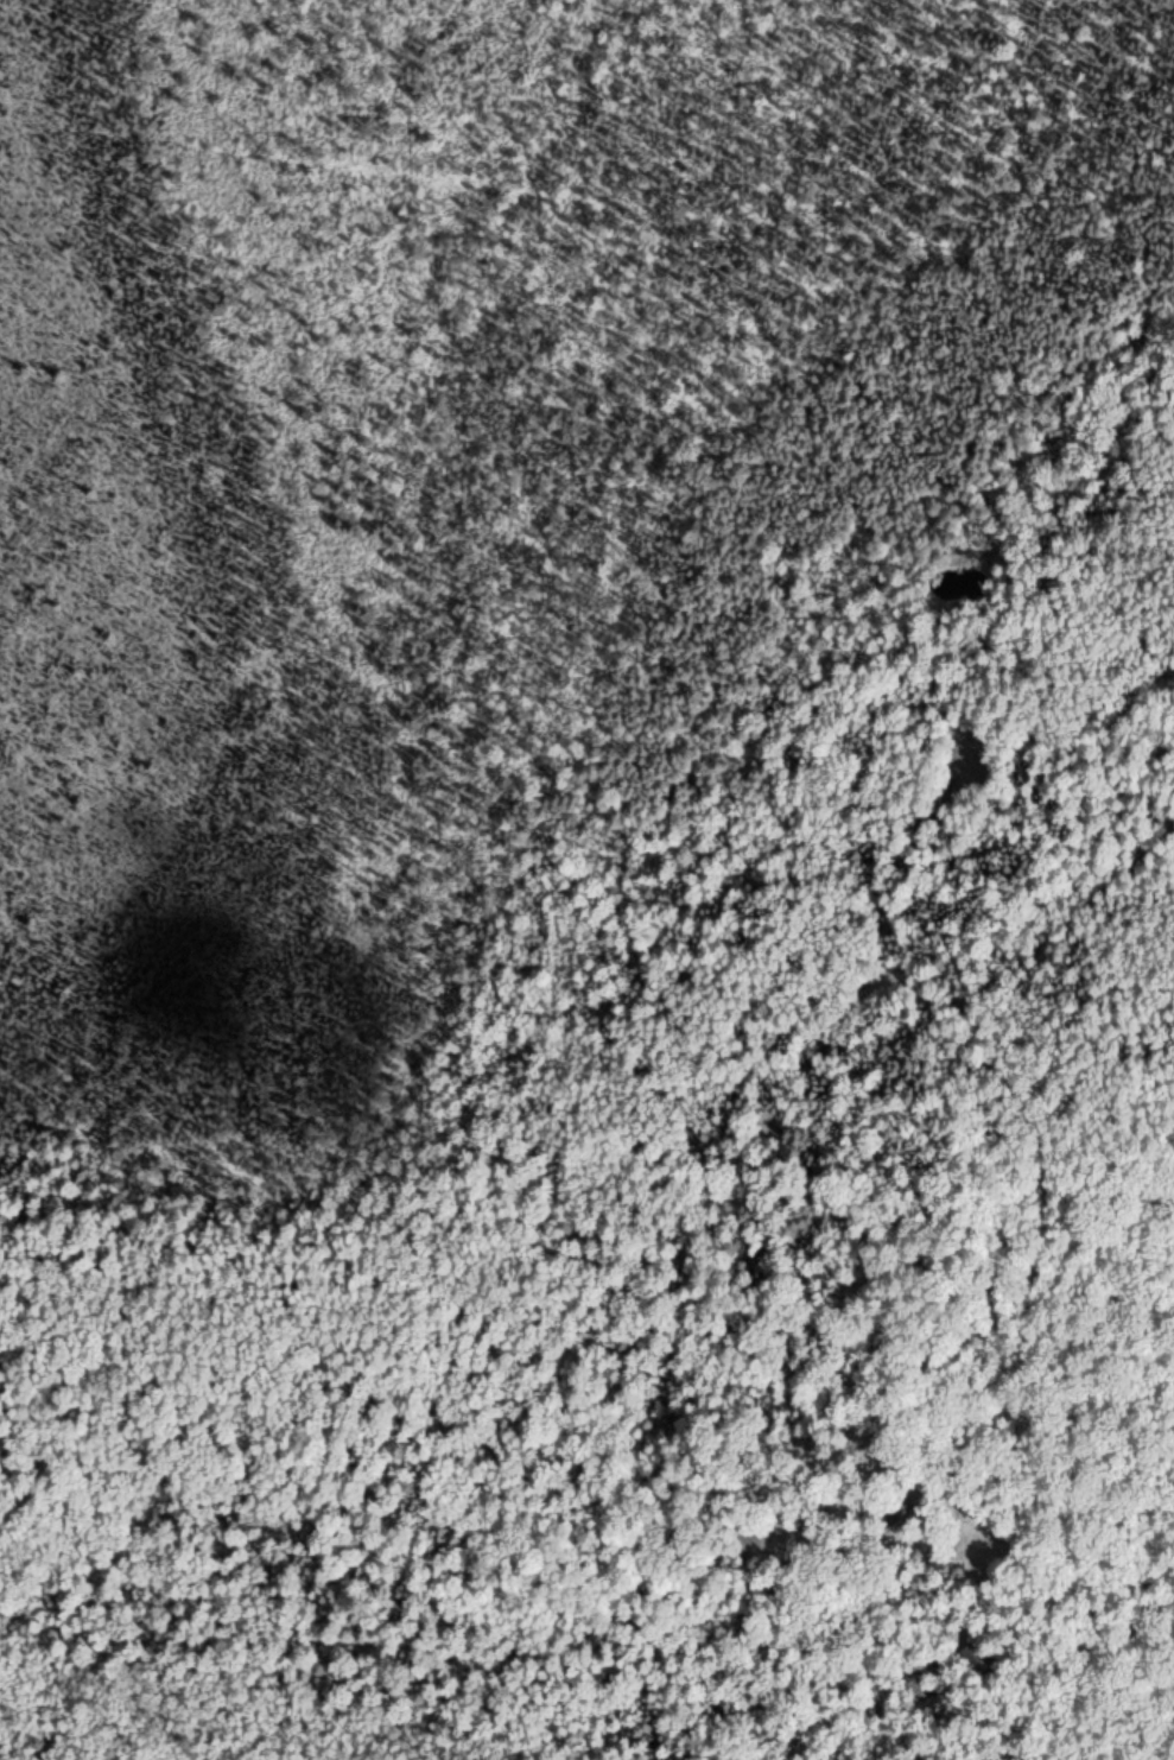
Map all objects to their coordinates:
quarry: (11, 1393)

